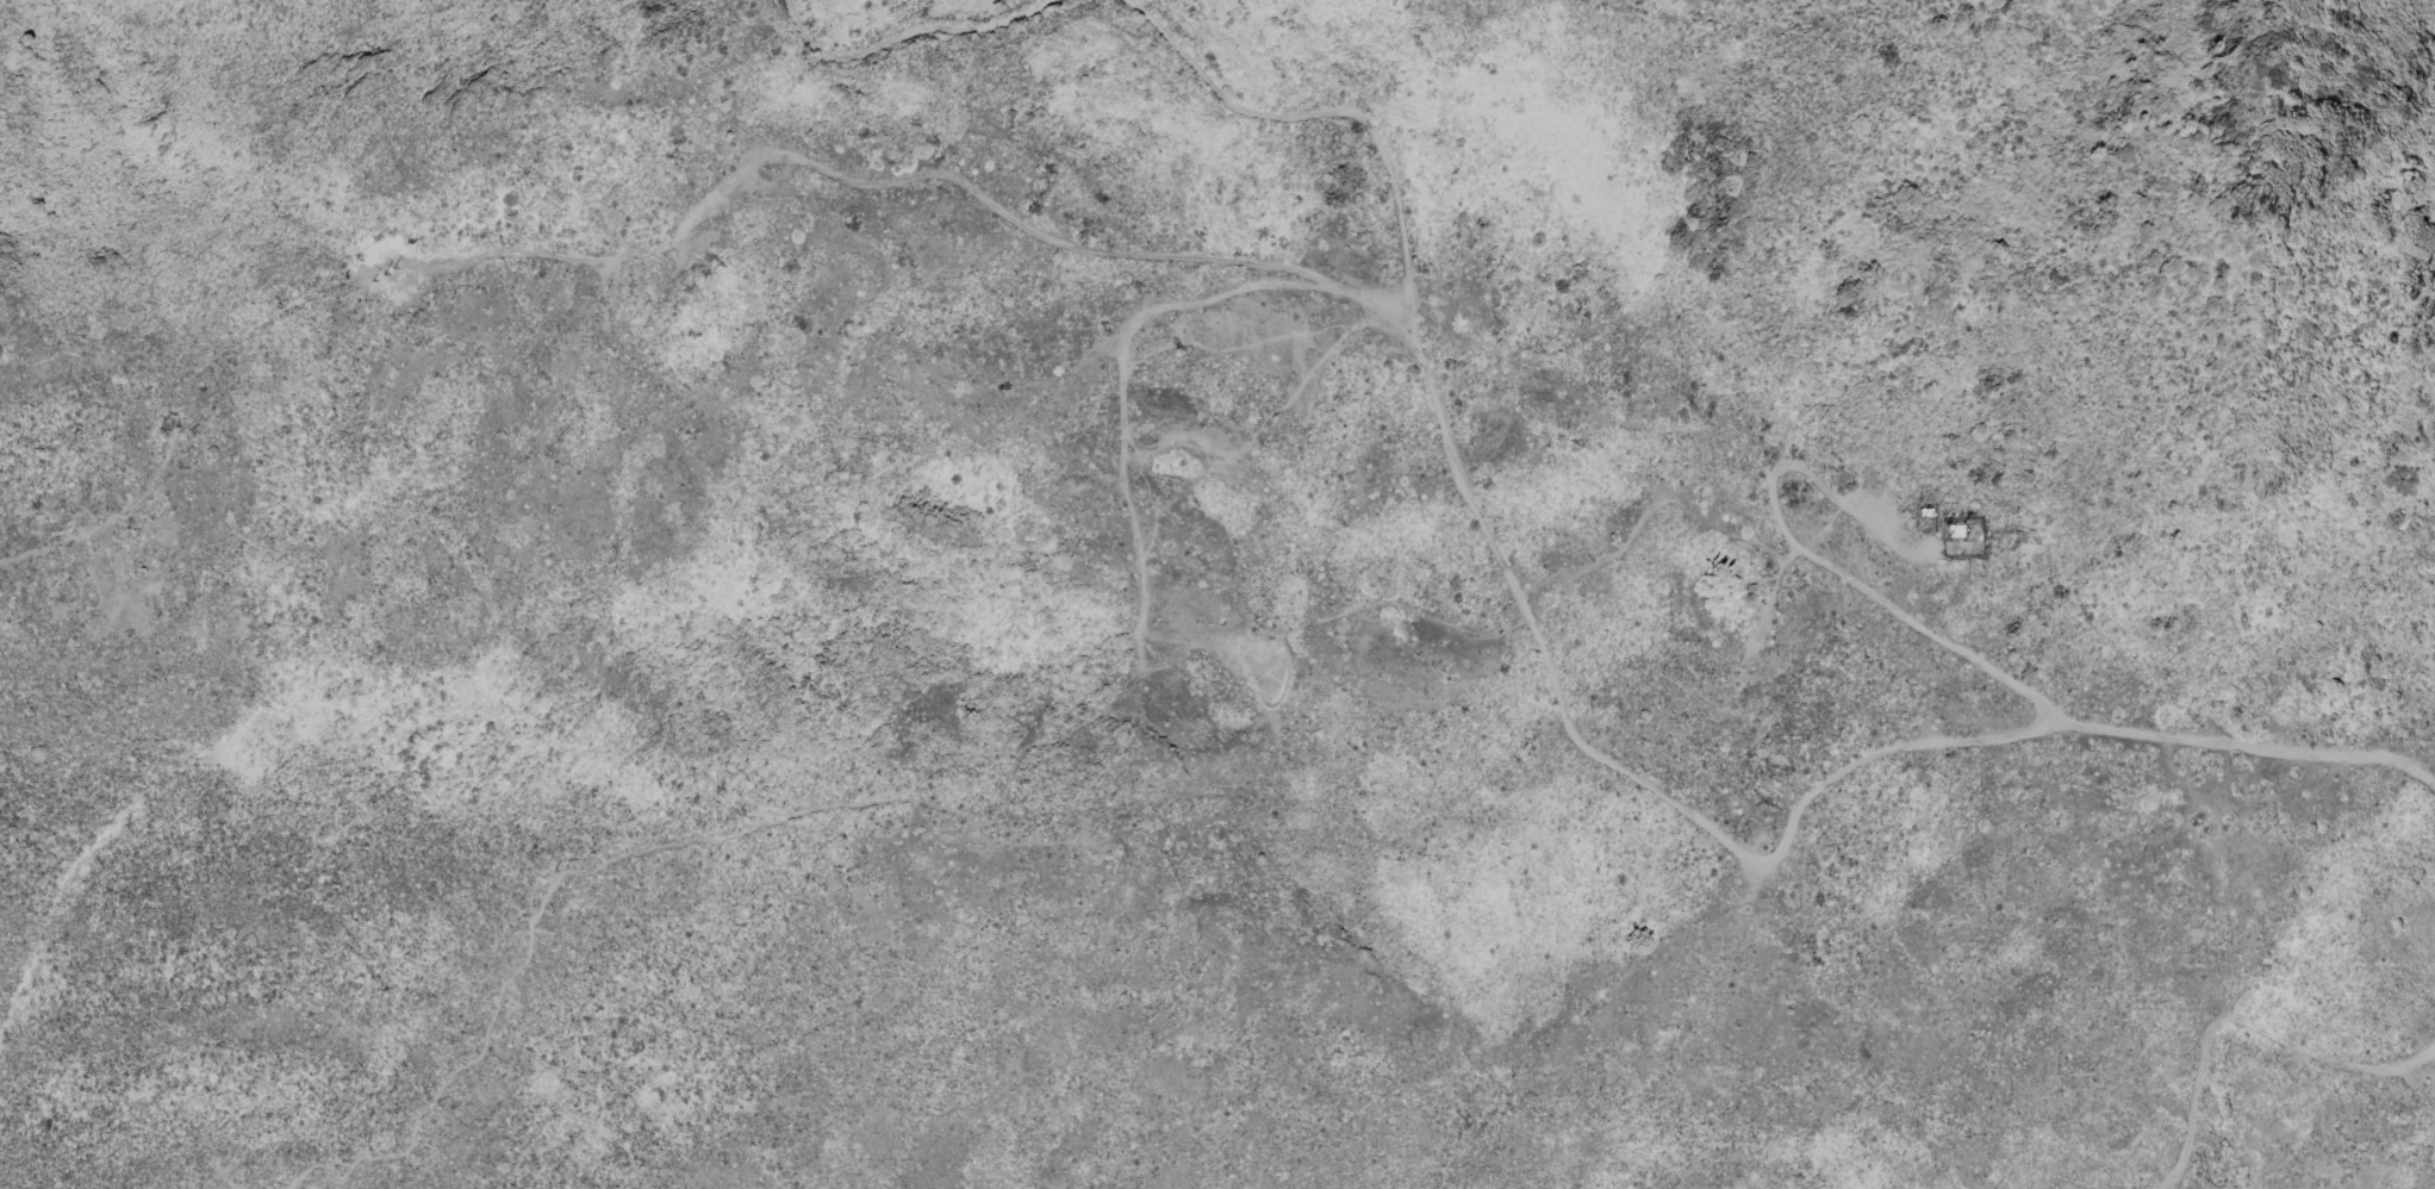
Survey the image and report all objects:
road: (904, 35)
road: (717, 108)
road: (1066, 238)
road: (343, 275)
road: (1121, 376)
road: (1652, 506)
road: (1855, 581)
road: (1762, 612)
road: (1581, 740)
road: (904, 797)
road: (1035, 835)
park: (1009, 882)
road: (2241, 1020)

